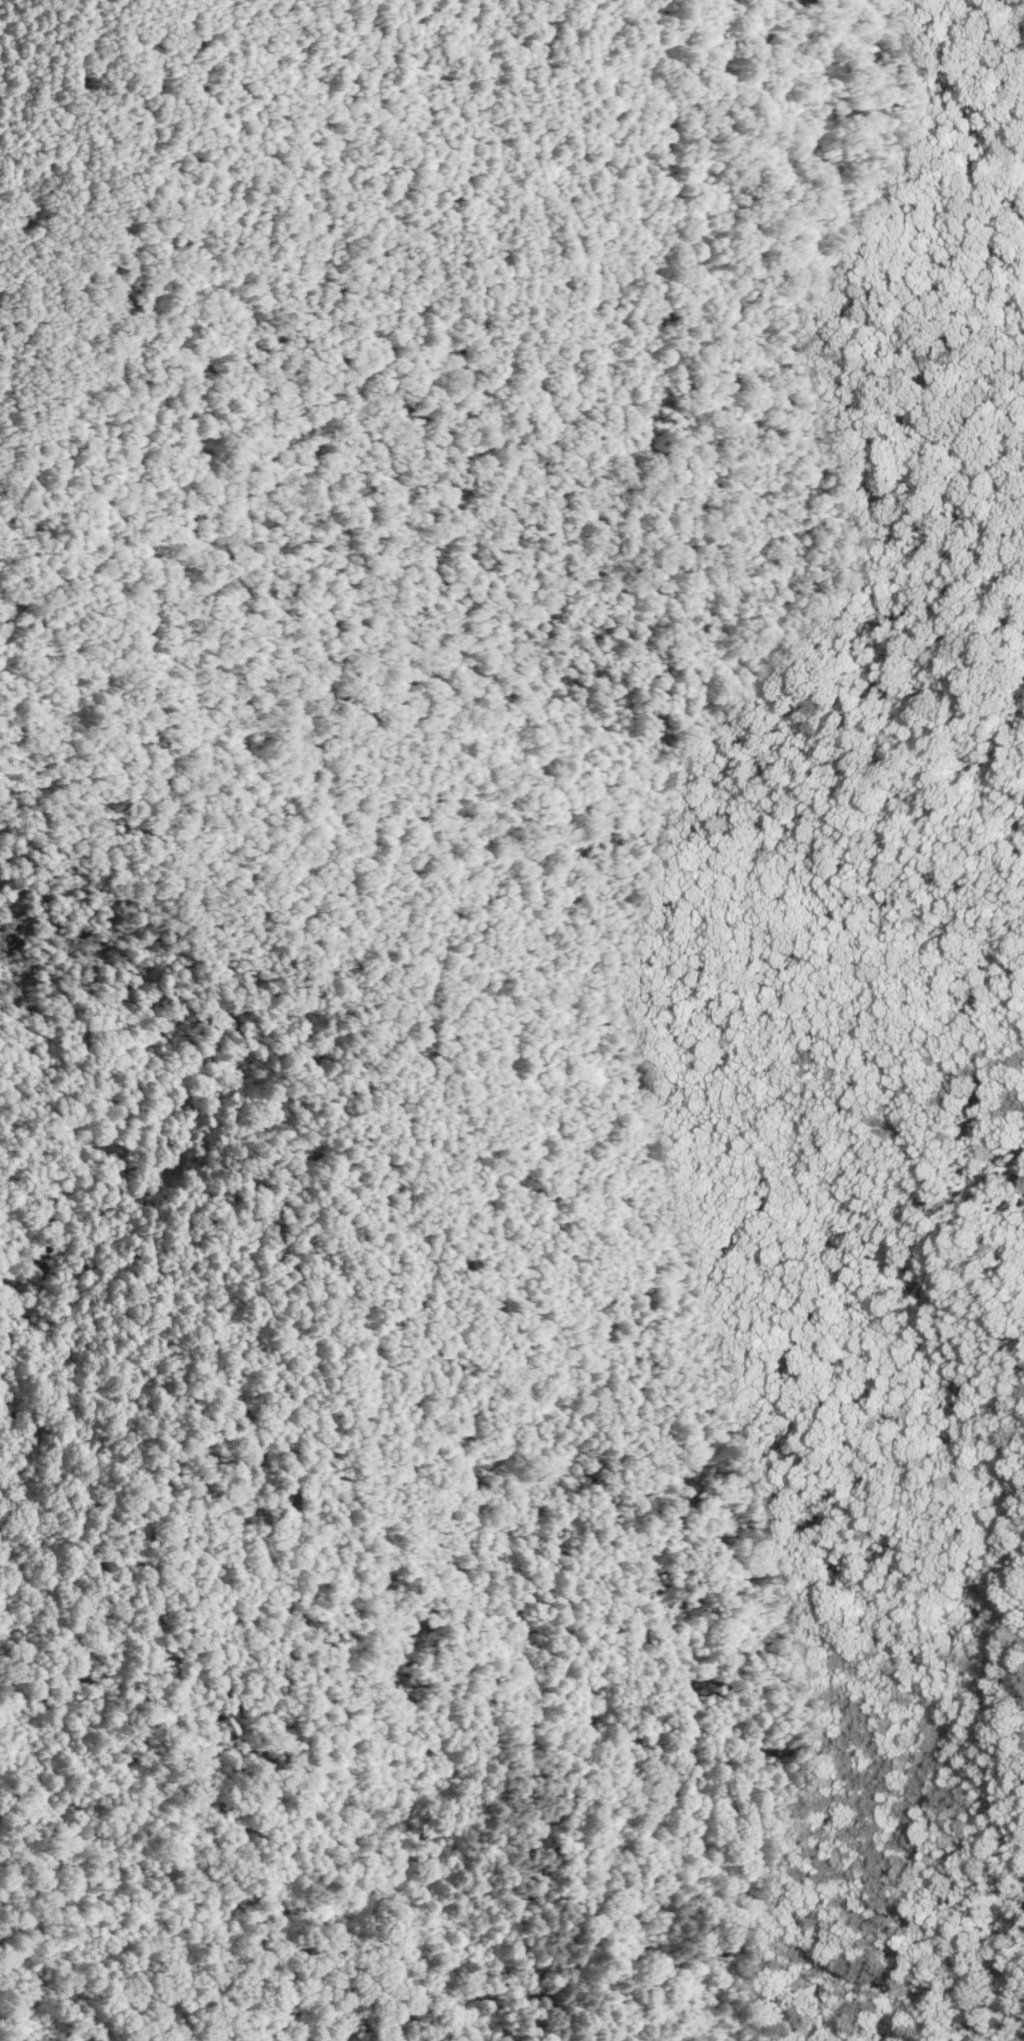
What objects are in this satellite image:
road: (912, 2030)

